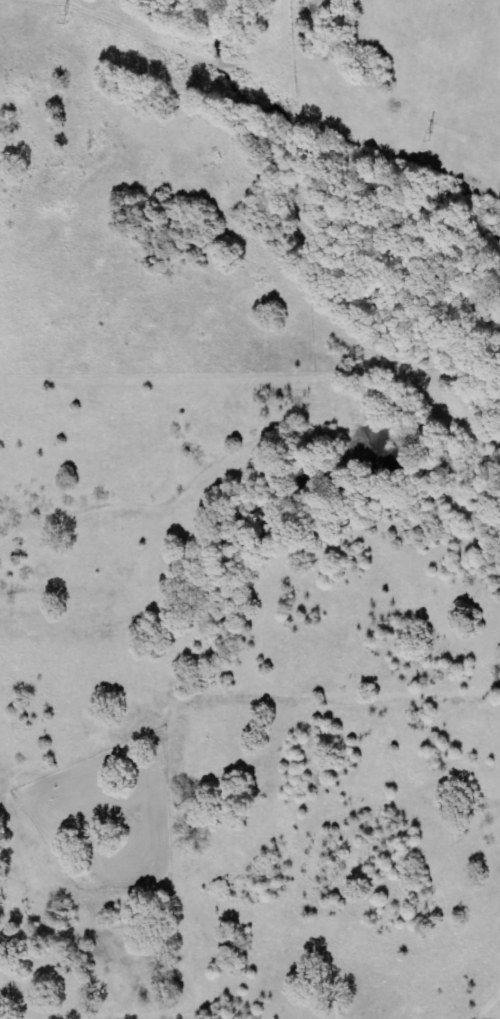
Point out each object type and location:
power tower: (67, 16)
power tower: (432, 136)

